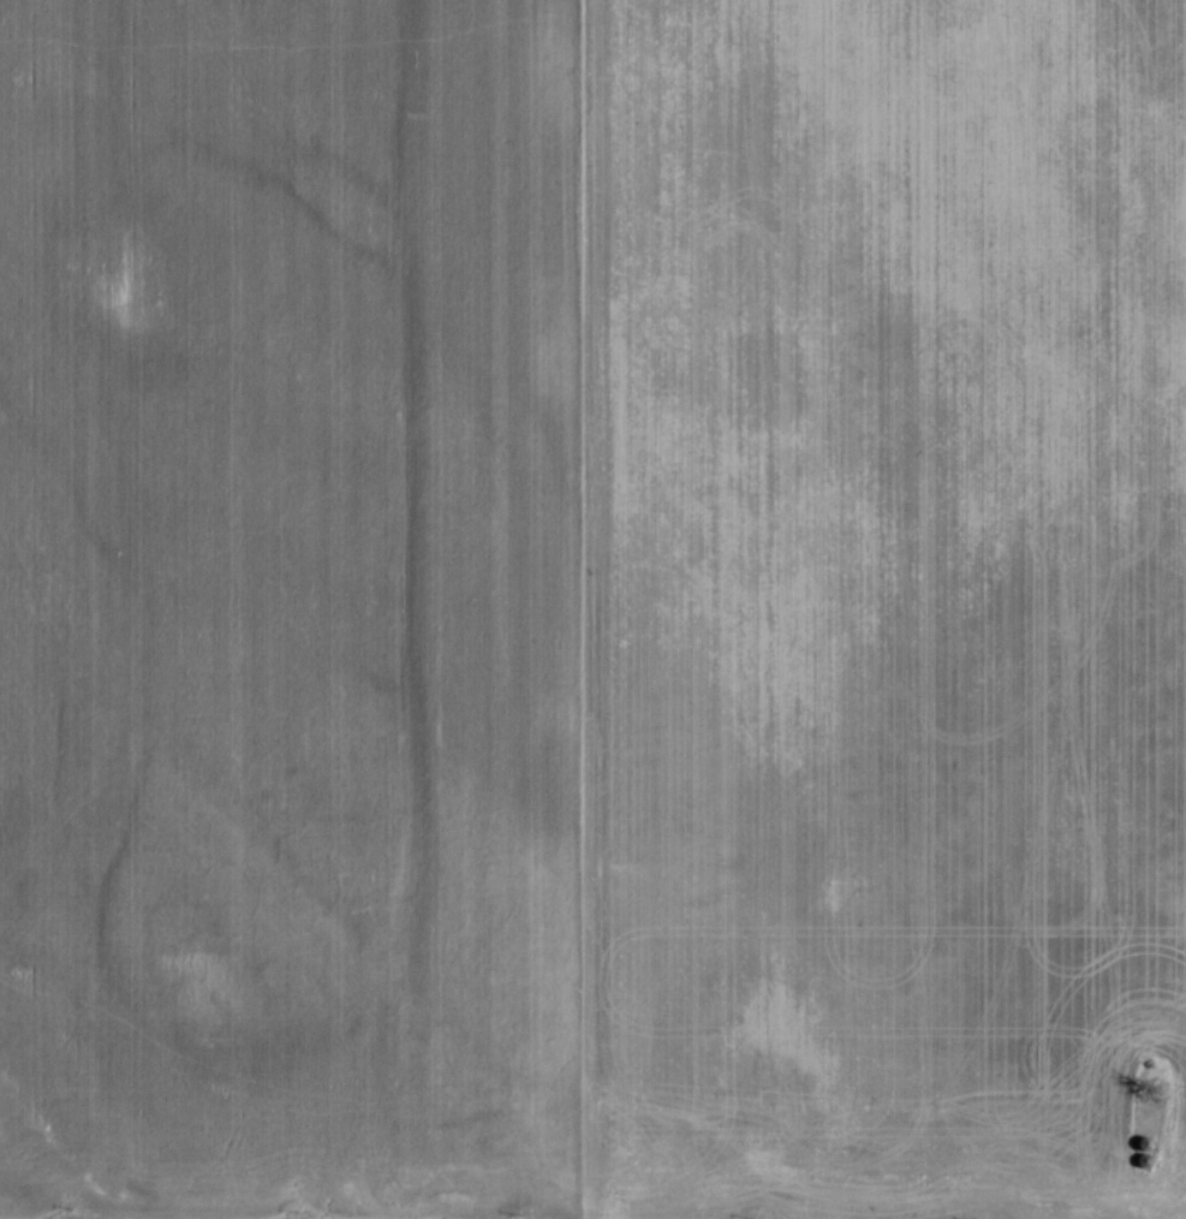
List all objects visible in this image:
crop: (592, 608)
building: (1140, 1142)

